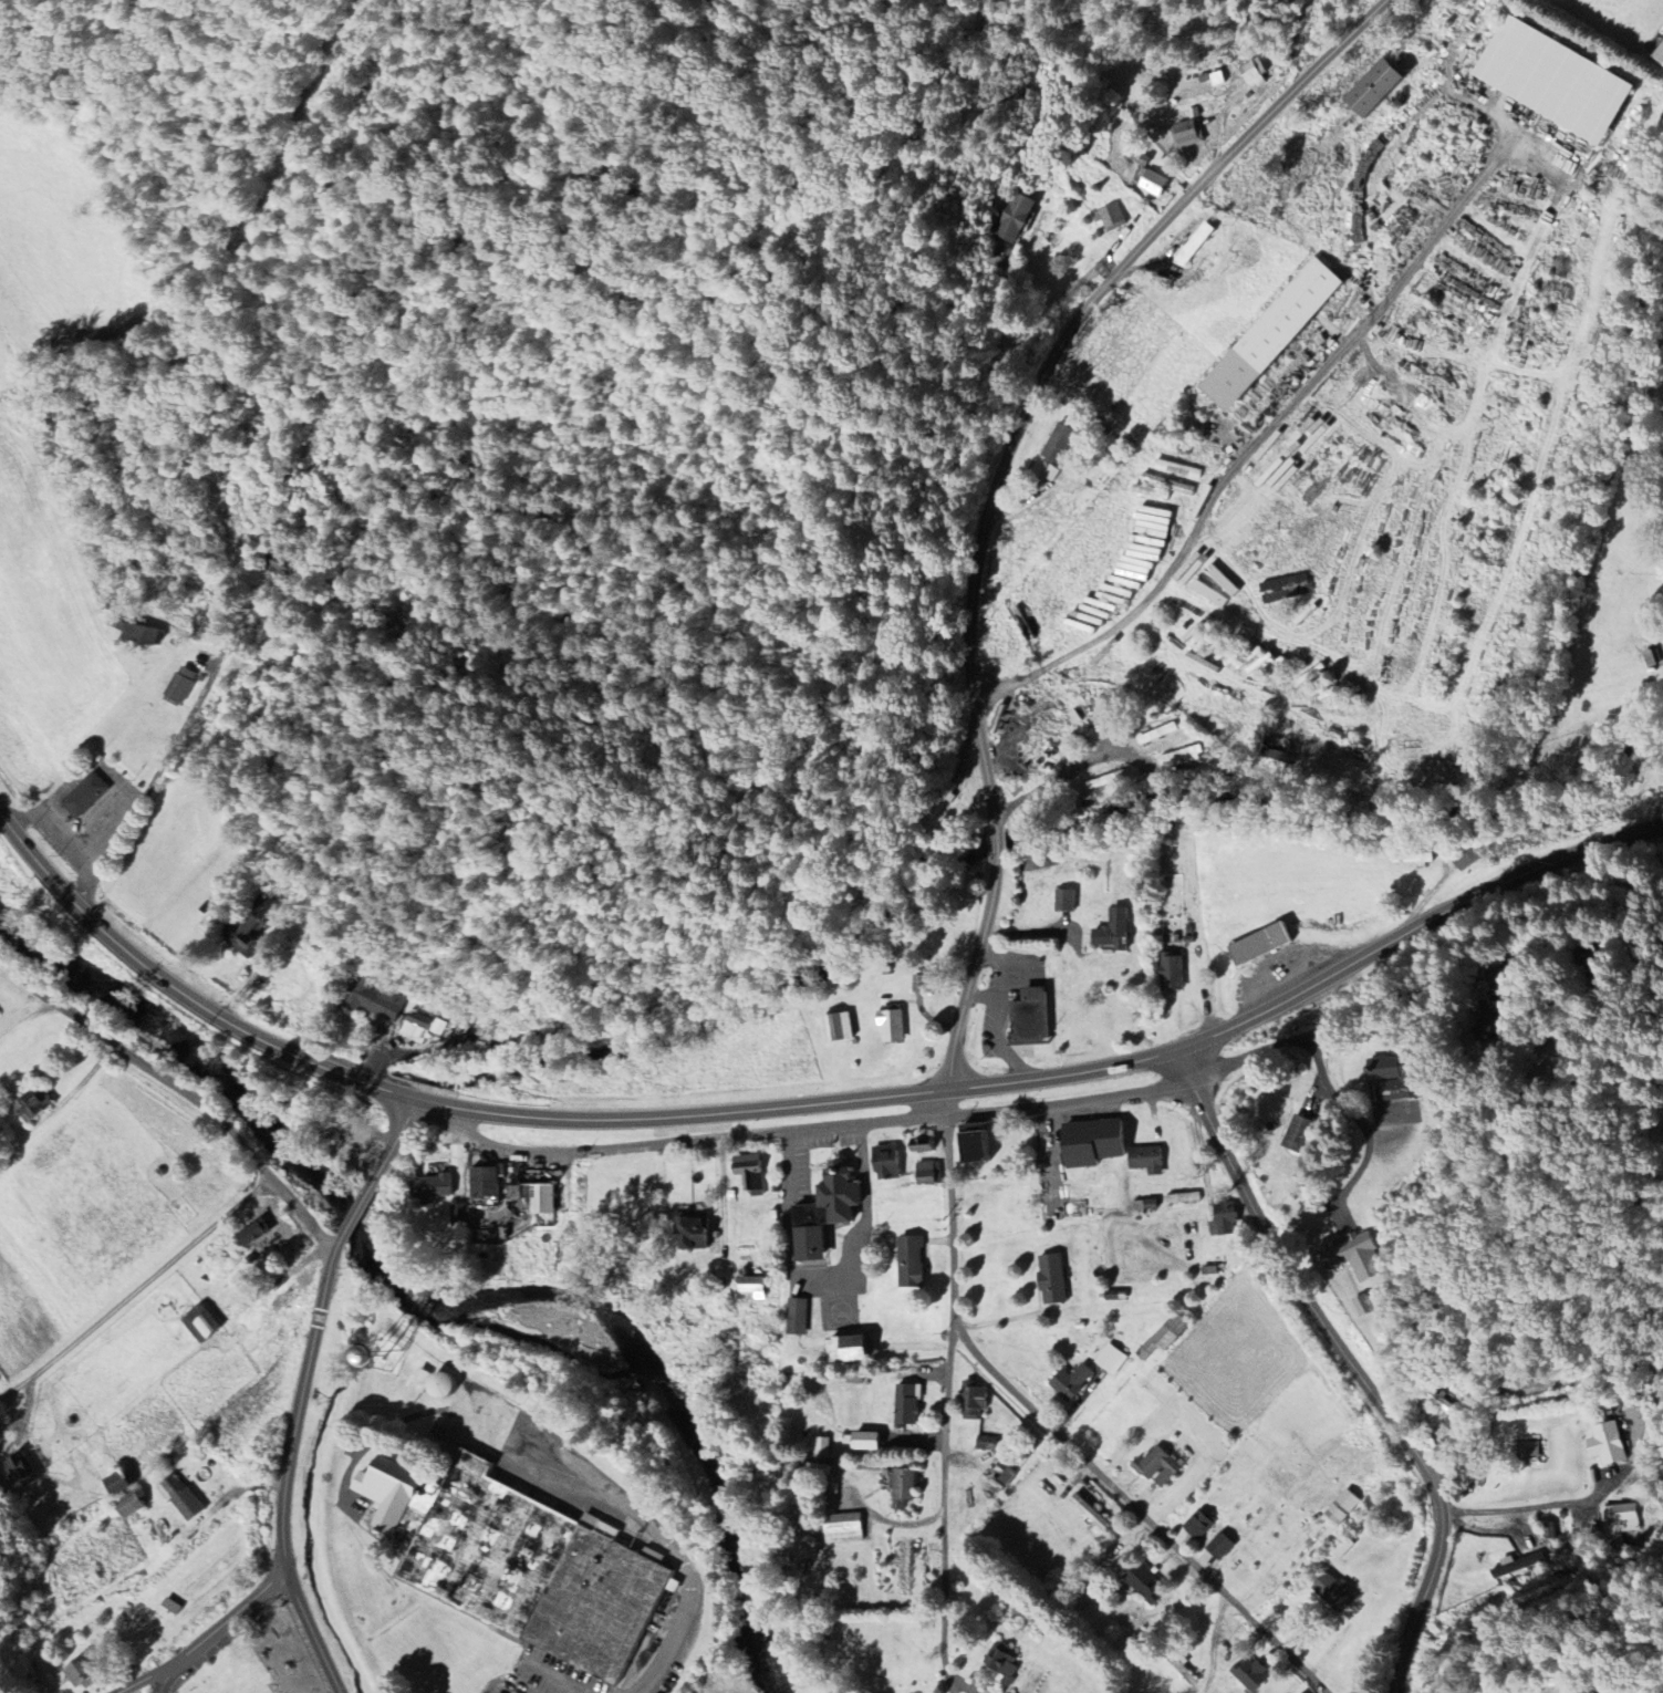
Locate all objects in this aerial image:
building: (1659, 54)
building: (1255, 73)
building: (1555, 80)
building: (1372, 89)
building: (1188, 134)
building: (1153, 183)
building: (1110, 217)
building: (1017, 218)
building: (1194, 245)
building: (1269, 335)
road: (1056, 357)
road: (1261, 439)
building: (1059, 443)
building: (1222, 581)
building: (1283, 589)
building: (1208, 593)
building: (138, 635)
building: (178, 686)
building: (1160, 736)
building: (1281, 752)
building: (1341, 756)
building: (1183, 757)
building: (1434, 762)
road: (1073, 768)
road: (155, 777)
building: (1110, 781)
building: (89, 794)
building: (943, 802)
road: (71, 838)
road: (998, 844)
building: (1470, 855)
building: (1415, 861)
building: (1044, 862)
building: (1067, 902)
building: (250, 923)
road: (1414, 927)
building: (1116, 935)
building: (1189, 941)
building: (1262, 947)
road: (146, 964)
road: (973, 974)
building: (1173, 976)
building: (925, 986)
building: (373, 998)
road: (1378, 1008)
building: (1032, 1014)
building: (0, 1016)
building: (1491, 1022)
building: (420, 1027)
building: (892, 1028)
building: (840, 1030)
building: (1395, 1074)
road: (363, 1081)
road: (183, 1088)
road: (946, 1103)
building: (39, 1104)
road: (787, 1108)
road: (817, 1128)
building: (1298, 1131)
building: (924, 1144)
building: (1094, 1145)
road: (394, 1146)
building: (977, 1146)
road: (1051, 1147)
building: (356, 1153)
building: (1147, 1160)
building: (890, 1162)
building: (929, 1173)
building: (751, 1174)
building: (488, 1182)
building: (435, 1186)
building: (777, 1190)
building: (536, 1194)
building: (1184, 1199)
building: (1145, 1206)
building: (829, 1212)
road: (356, 1216)
building: (462, 1216)
building: (1227, 1219)
road: (954, 1223)
building: (696, 1229)
building: (488, 1236)
building: (269, 1244)
building: (1359, 1255)
building: (915, 1265)
building: (1210, 1270)
building: (1057, 1278)
road: (827, 1280)
building: (756, 1288)
road: (137, 1290)
building: (1115, 1298)
building: (287, 1301)
building: (800, 1318)
building: (205, 1322)
building: (1168, 1334)
building: (852, 1347)
water tower: (387, 1358)
building: (1114, 1359)
road: (1352, 1365)
building: (1073, 1381)
building: (439, 1385)
building: (976, 1400)
building: (908, 1404)
building: (867, 1441)
building: (987, 1444)
building: (1607, 1444)
building: (824, 1447)
building: (1528, 1452)
building: (1160, 1465)
road: (292, 1468)
building: (22, 1469)
building: (1285, 1477)
building: (121, 1482)
building: (905, 1485)
road: (946, 1488)
building: (184, 1499)
building: (132, 1503)
road: (1531, 1506)
building: (1341, 1508)
road: (1141, 1512)
building: (1092, 1513)
building: (1621, 1518)
building: (1202, 1524)
building: (846, 1529)
building: (1222, 1546)
building: (1345, 1548)
building: (521, 1562)
building: (1513, 1565)
building: (1147, 1583)
building: (1335, 1593)
road: (214, 1640)
road: (1214, 1643)
building: (1006, 1664)
building: (1183, 1665)
building: (87, 1671)
building: (1253, 1673)
road: (549, 1679)
building: (0, 1682)
road: (168, 1682)
building: (987, 1691)
building: (1303, 1692)

